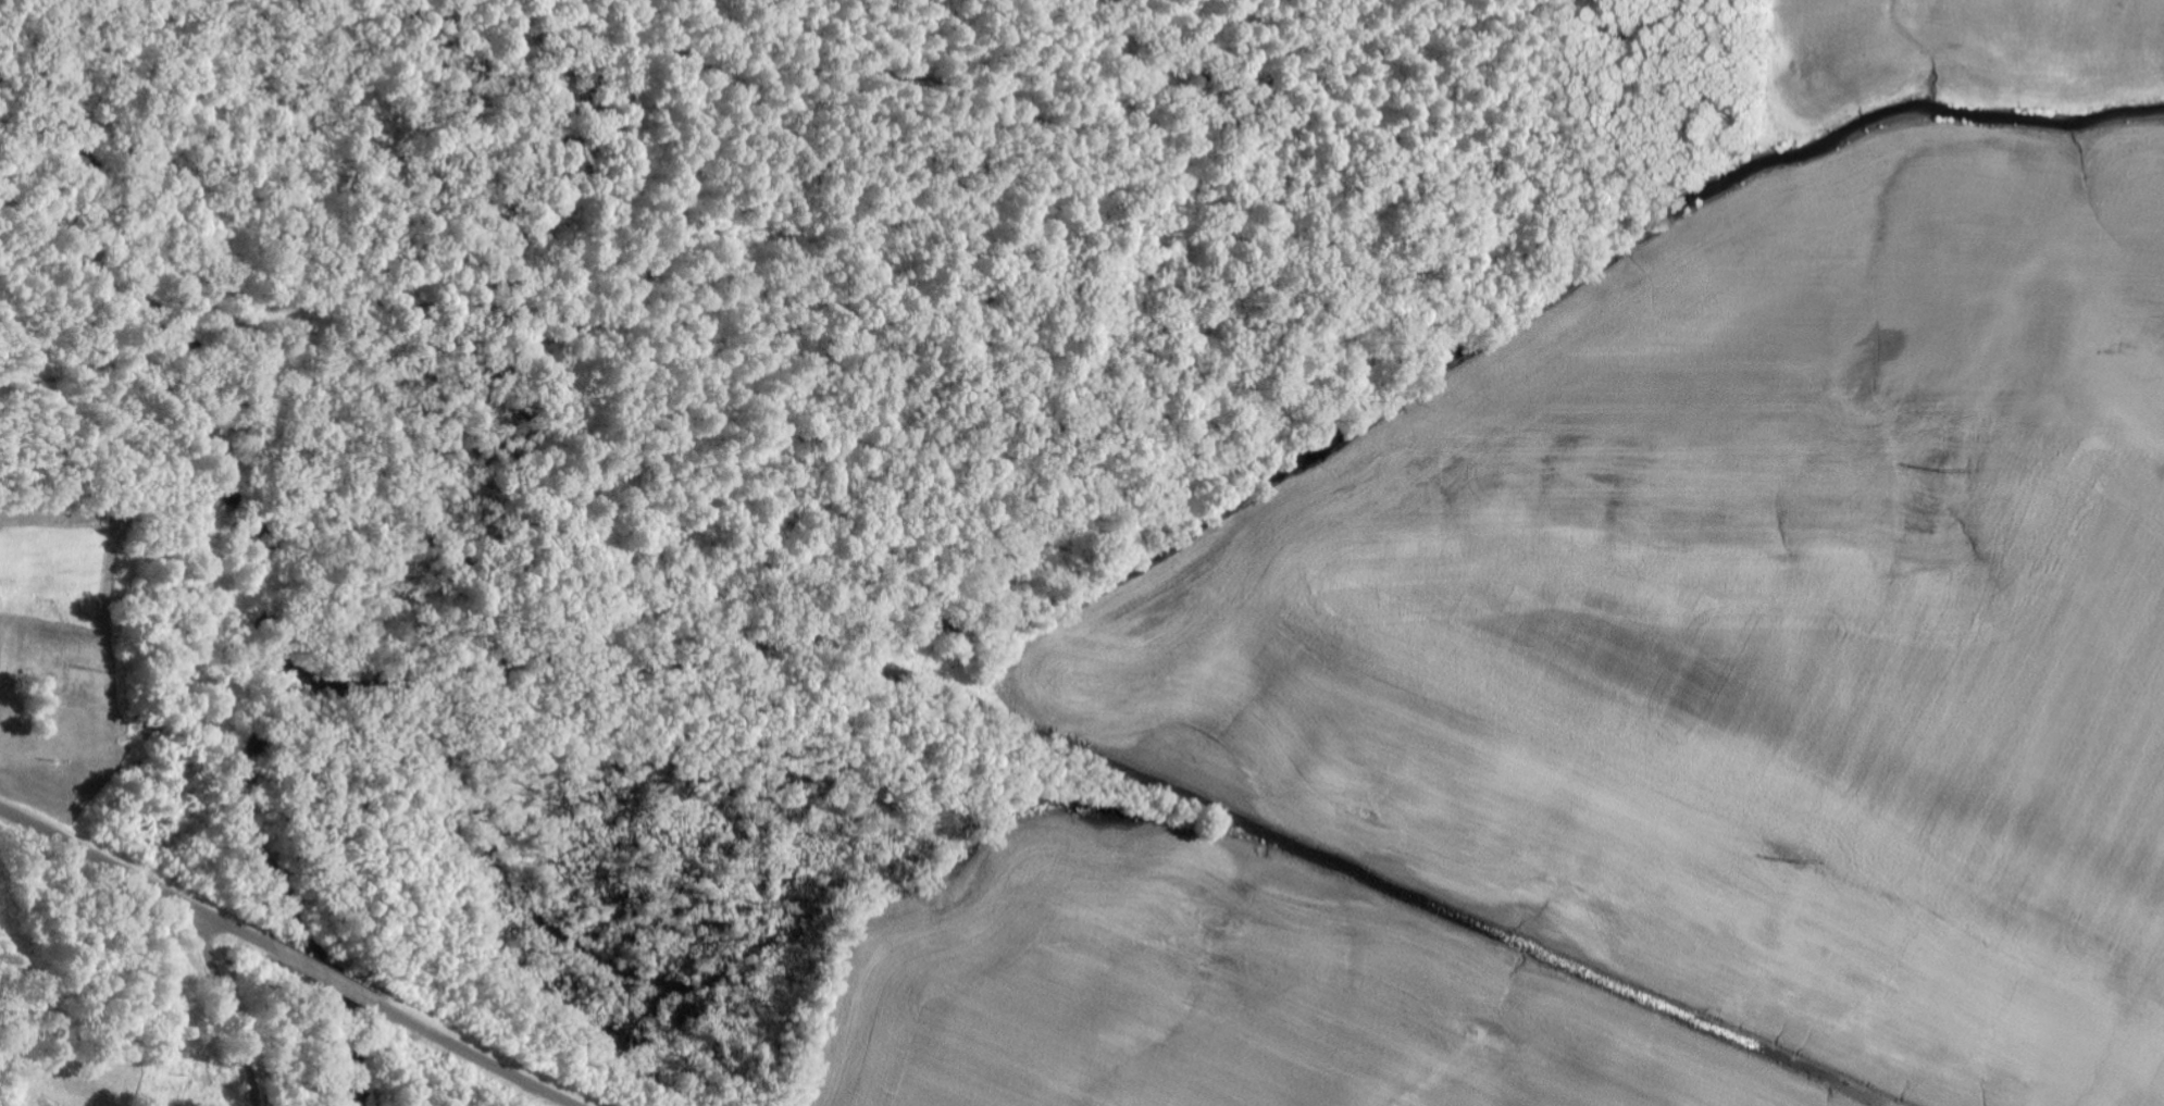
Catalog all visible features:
road: (103, 859)
road: (241, 934)
road: (326, 980)
road: (232, 1010)
road: (473, 1057)

